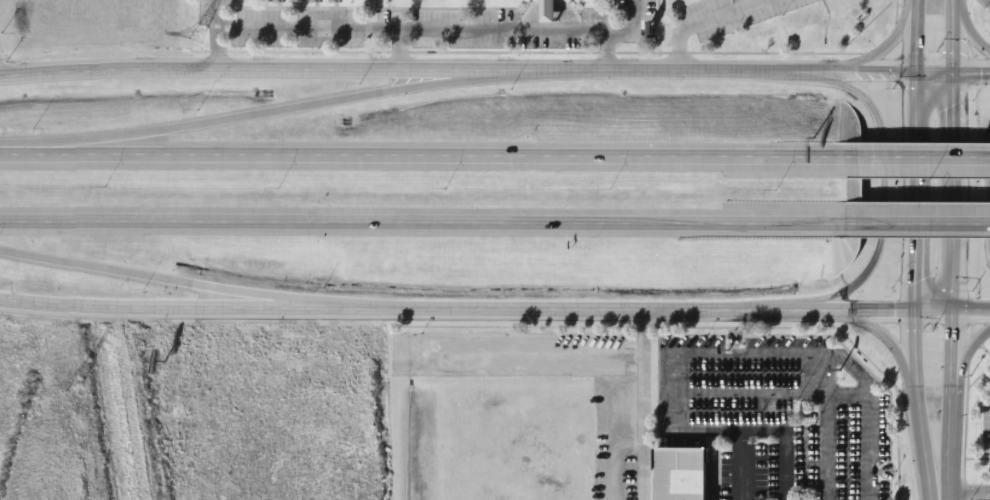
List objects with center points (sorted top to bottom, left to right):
building: (552, 10)
road: (707, 20)
road: (971, 27)
road: (439, 30)
road: (216, 34)
road: (952, 36)
road: (886, 42)
road: (397, 49)
road: (606, 52)
road: (477, 69)
traffic signals: (954, 72)
road: (972, 72)
traffic signals: (913, 73)
road: (262, 113)
road: (422, 156)
road: (917, 158)
road: (877, 189)
road: (983, 196)
road: (423, 221)
road: (918, 223)
road: (913, 250)
road: (185, 282)
road: (951, 286)
road: (494, 311)
traffic signals: (913, 312)
traffic signals: (951, 313)
road: (891, 347)
road: (967, 348)
road: (739, 354)
road: (771, 392)
road: (642, 406)
parking lot: (775, 414)
road: (826, 427)
road: (784, 465)
road: (742, 466)
building: (683, 476)

